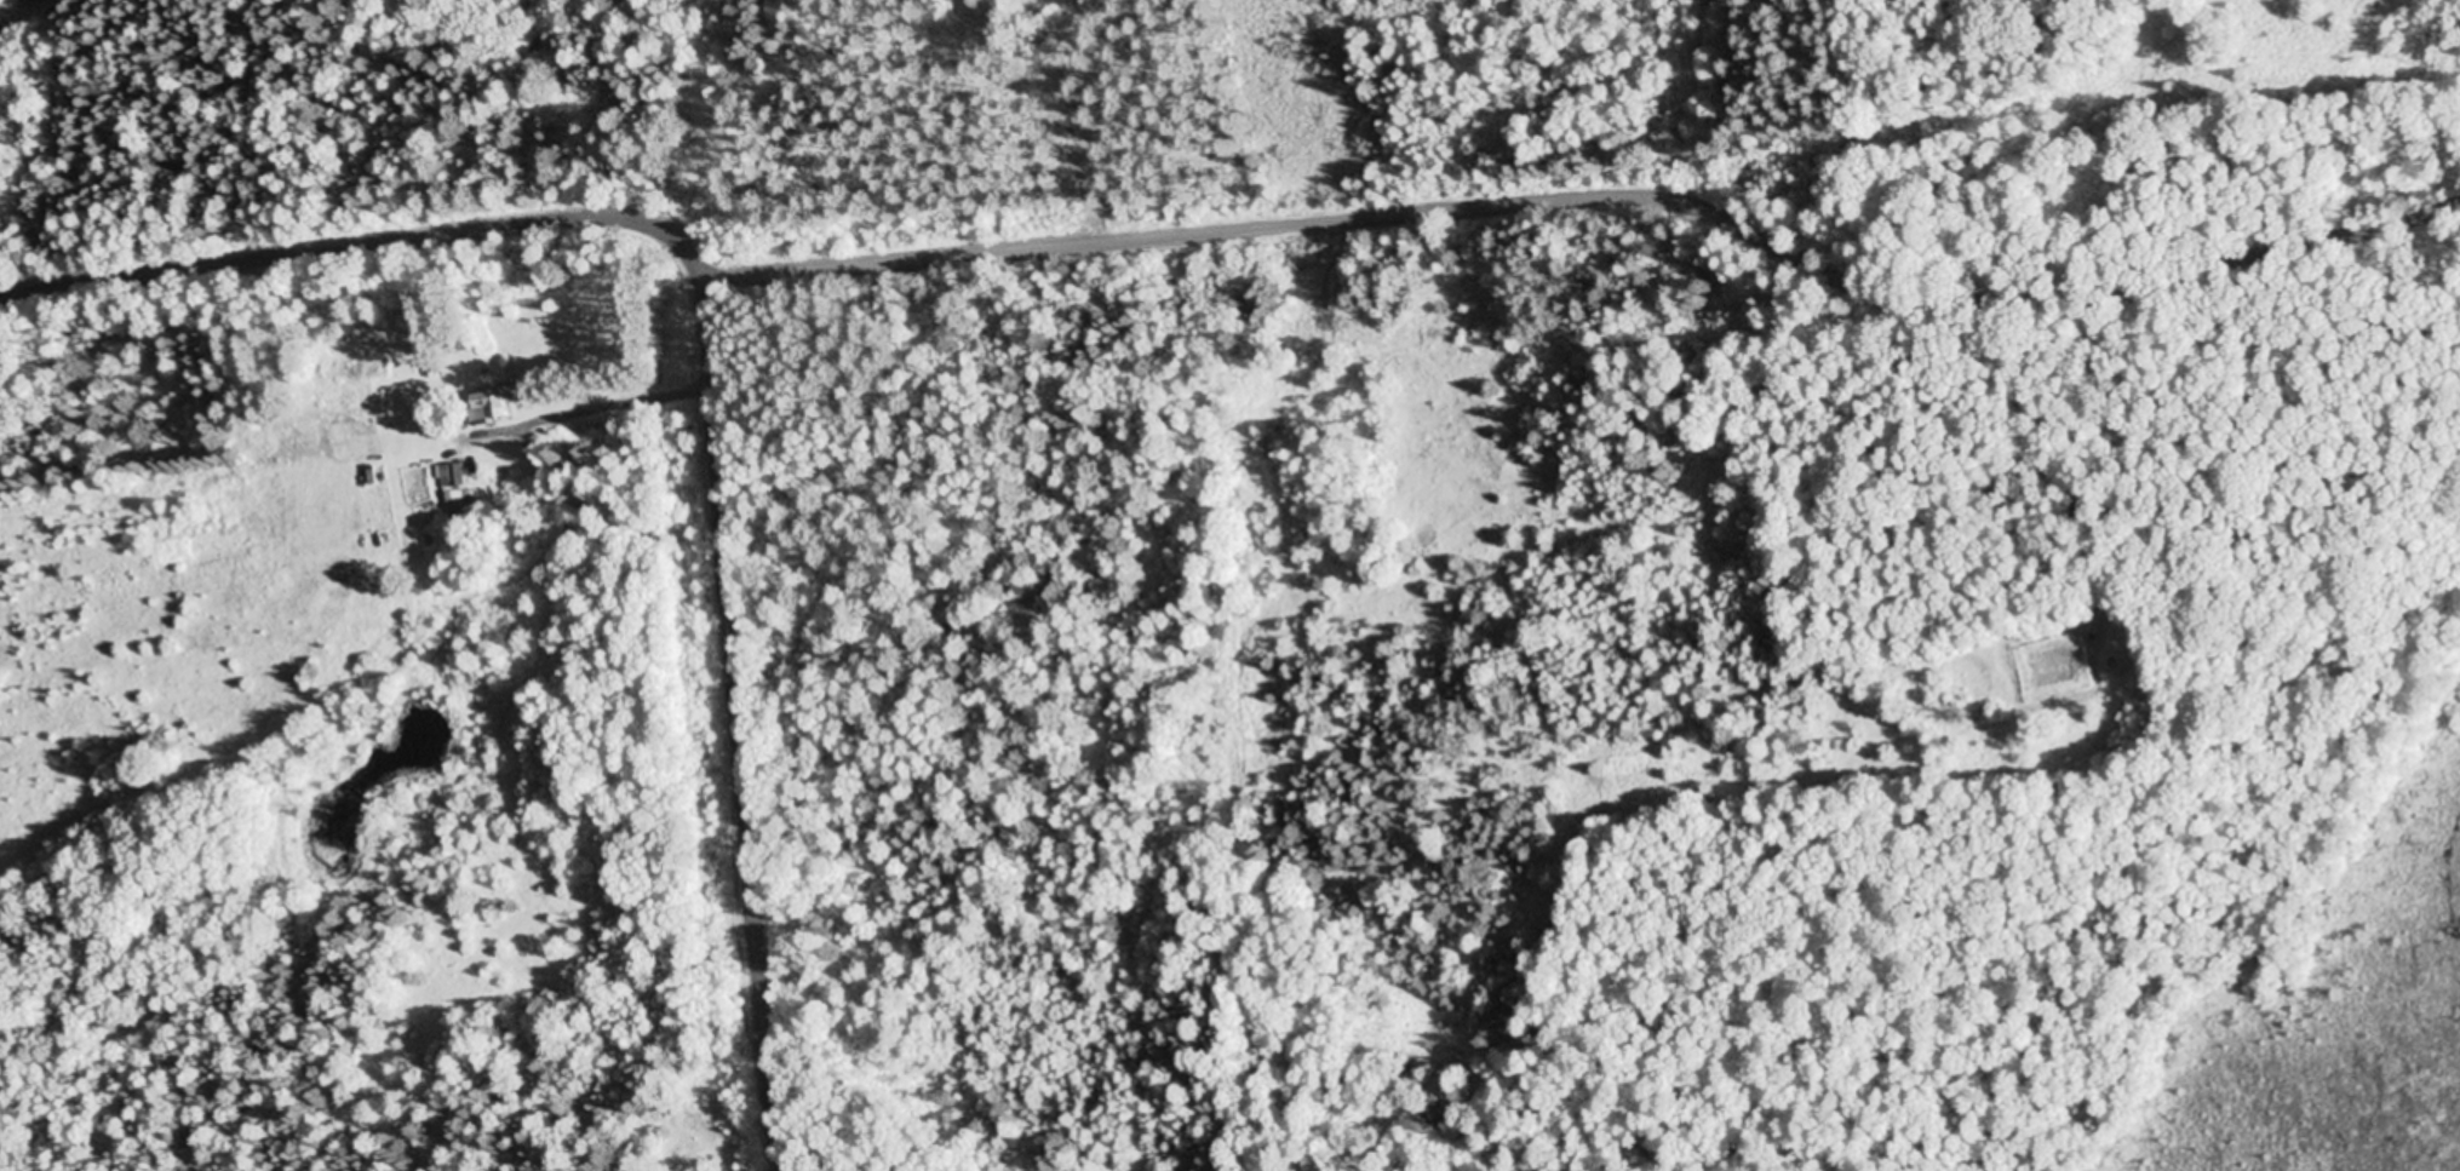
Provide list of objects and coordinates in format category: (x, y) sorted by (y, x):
road: (1596, 193)
road: (2340, 314)
road: (719, 352)

